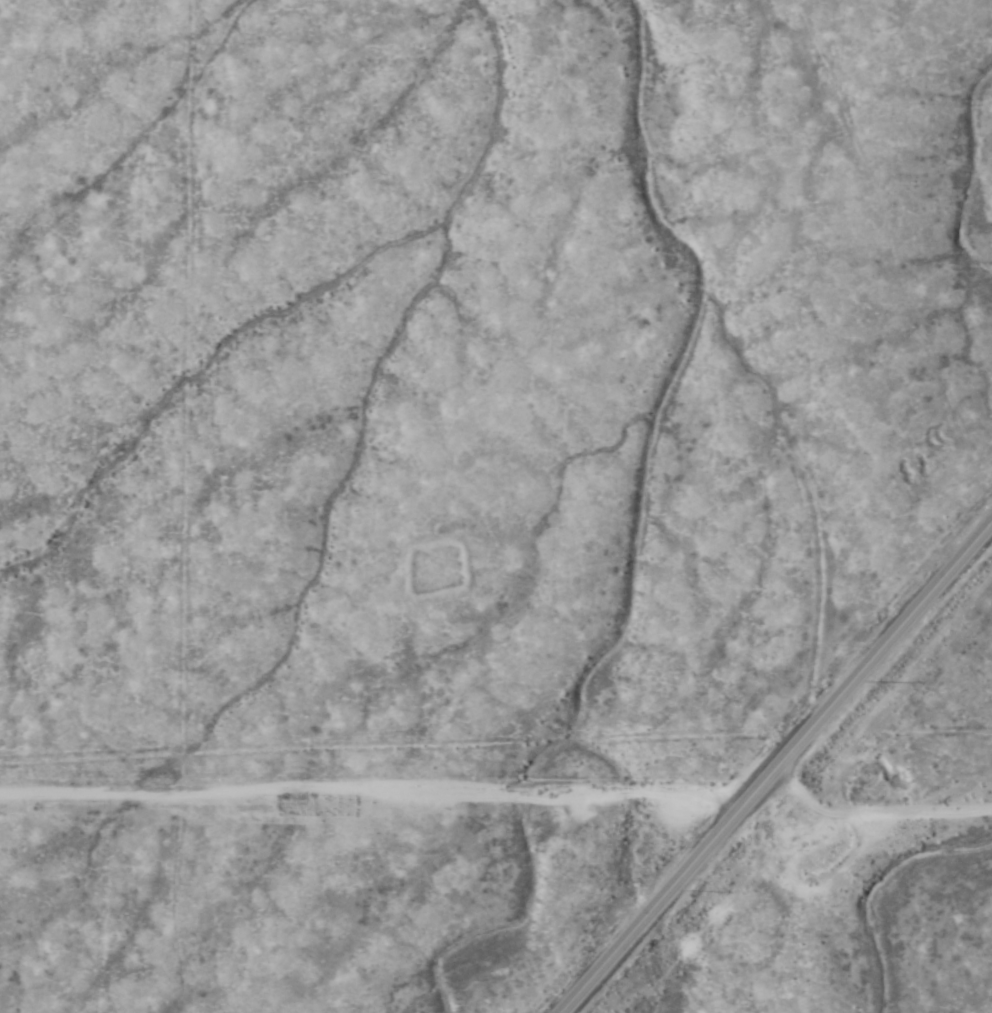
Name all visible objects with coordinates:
road: (775, 766)
road: (876, 799)

